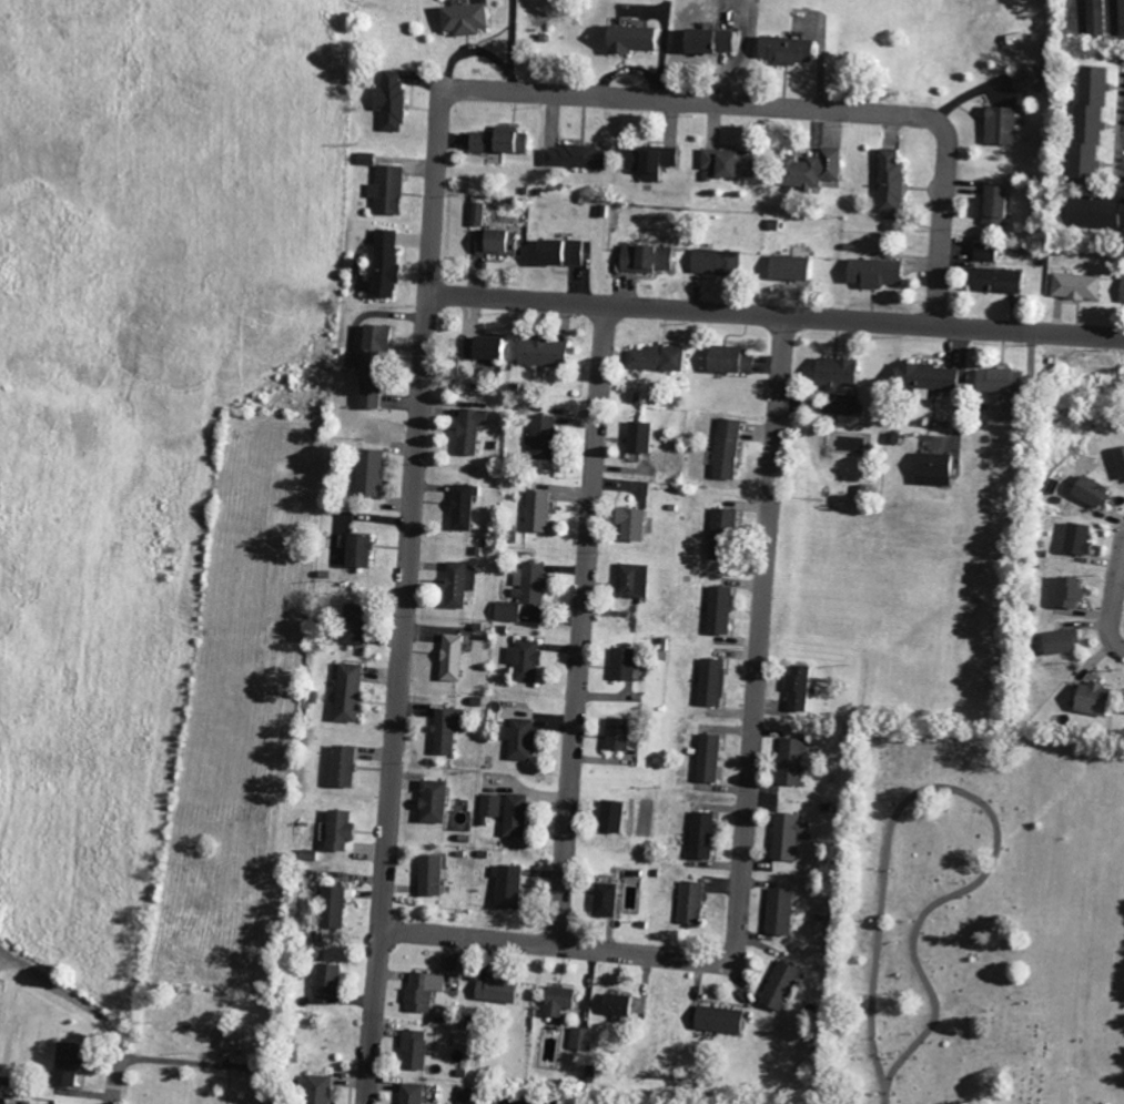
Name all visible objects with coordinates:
building: (1097, 16)
building: (473, 19)
building: (639, 39)
building: (1015, 39)
building: (719, 41)
building: (797, 51)
building: (1031, 79)
road: (700, 100)
building: (398, 101)
building: (1000, 125)
building: (1084, 125)
building: (506, 141)
building: (581, 156)
building: (657, 162)
building: (735, 163)
building: (819, 169)
building: (889, 180)
building: (394, 191)
building: (993, 205)
building: (1093, 212)
building: (483, 214)
road: (942, 225)
building: (502, 242)
building: (983, 251)
building: (569, 253)
building: (652, 259)
building: (719, 262)
building: (392, 265)
building: (786, 266)
building: (871, 272)
building: (994, 278)
building: (1075, 285)
building: (1122, 291)
road: (777, 314)
building: (489, 348)
building: (545, 352)
building: (655, 357)
building: (728, 358)
building: (381, 367)
building: (834, 374)
building: (924, 378)
building: (996, 379)
building: (469, 429)
building: (543, 436)
building: (640, 436)
building: (727, 448)
building: (1118, 462)
building: (931, 468)
building: (368, 472)
building: (1090, 492)
building: (463, 505)
building: (537, 510)
building: (725, 519)
building: (629, 523)
building: (1076, 538)
building: (356, 549)
building: (634, 579)
building: (457, 583)
building: (531, 583)
building: (1069, 591)
road: (408, 597)
road: (1113, 599)
building: (719, 609)
building: (510, 610)
building: (352, 624)
road: (583, 624)
road: (760, 631)
building: (1060, 641)
building: (449, 657)
building: (525, 660)
building: (622, 664)
building: (711, 681)
building: (797, 688)
building: (347, 692)
building: (1090, 698)
building: (446, 729)
building: (616, 733)
building: (519, 739)
building: (708, 758)
building: (790, 761)
building: (342, 766)
building: (433, 801)
building: (492, 806)
building: (515, 814)
building: (610, 816)
building: (337, 830)
building: (702, 834)
building: (787, 834)
building: (429, 874)
building: (507, 887)
building: (604, 899)
building: (691, 901)
building: (331, 907)
building: (778, 911)
road: (612, 935)
road: (558, 944)
building: (327, 983)
building: (779, 985)
building: (423, 990)
building: (494, 990)
road: (69, 994)
building: (558, 1000)
building: (615, 1004)
building: (718, 1019)
building: (231, 1039)
building: (581, 1039)
building: (414, 1050)
building: (74, 1063)
road: (118, 1077)
building: (316, 1090)
building: (411, 1093)
building: (464, 1100)

